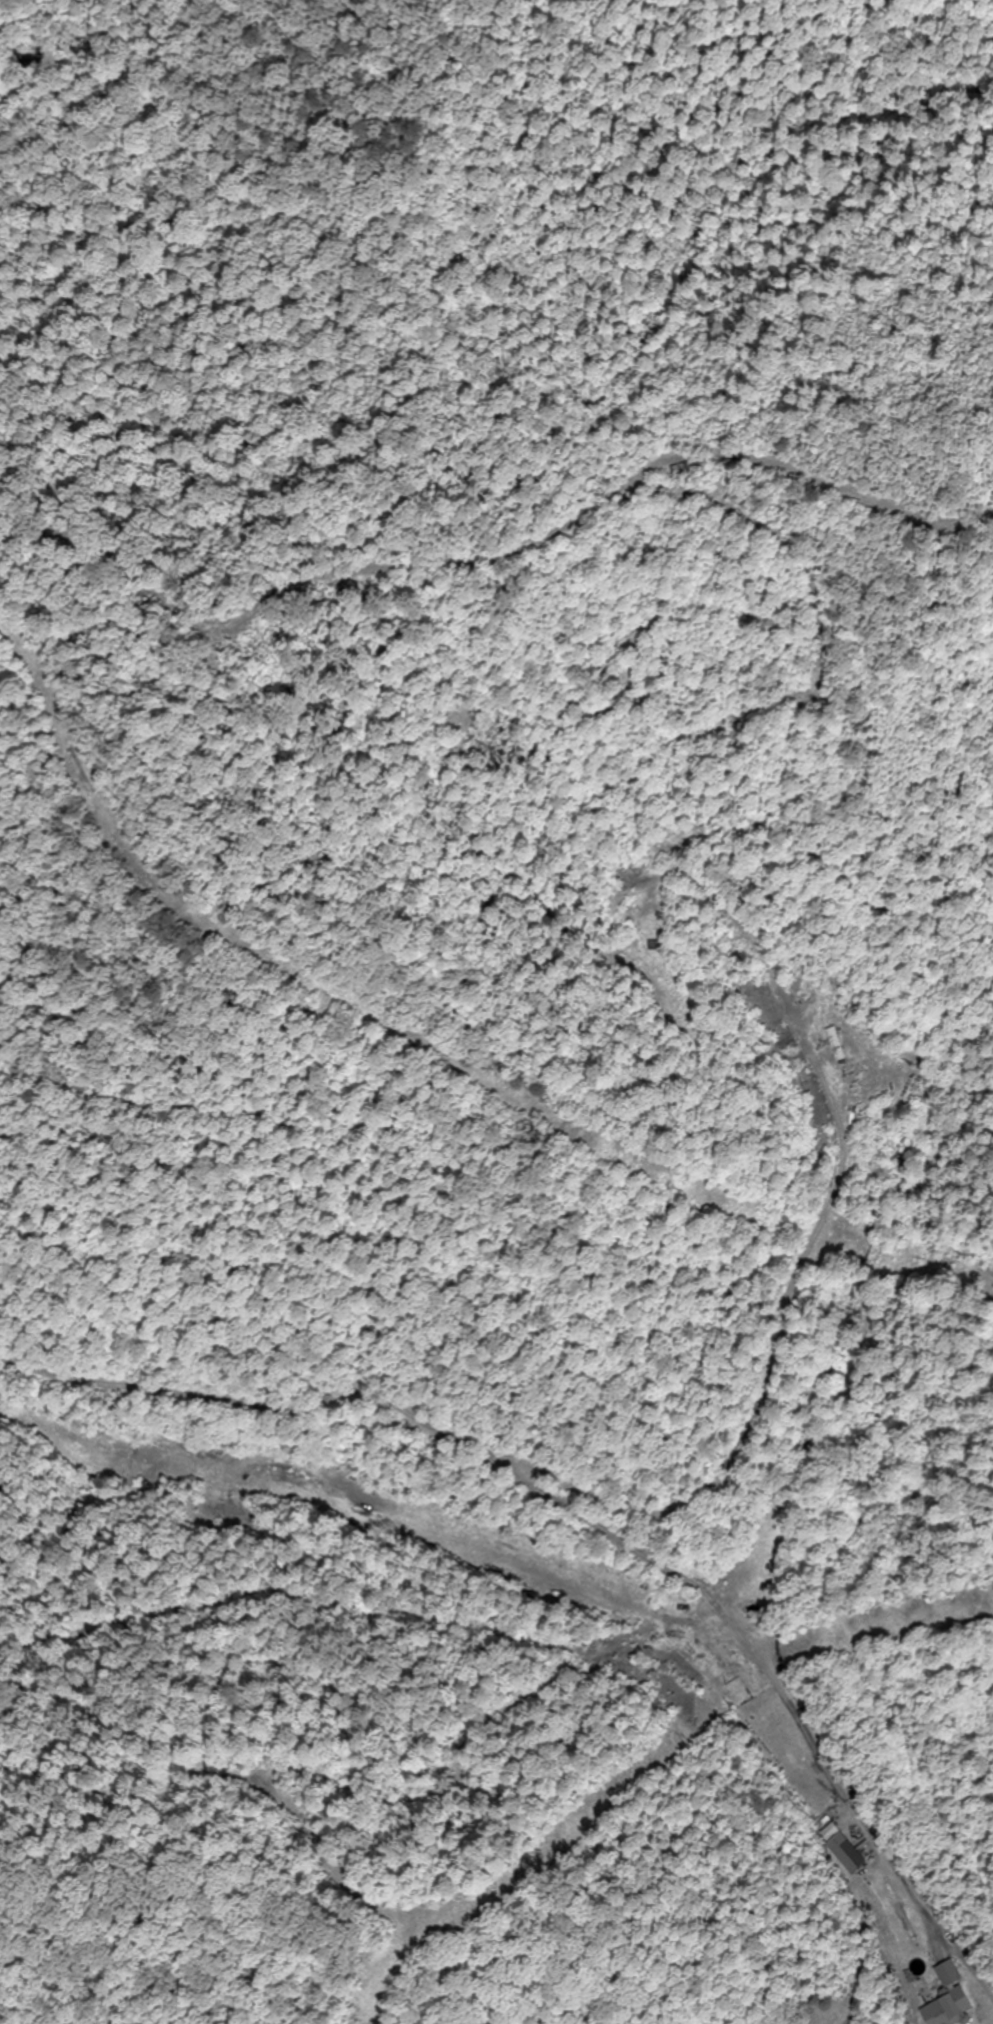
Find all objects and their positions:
building: (943, 1999)

